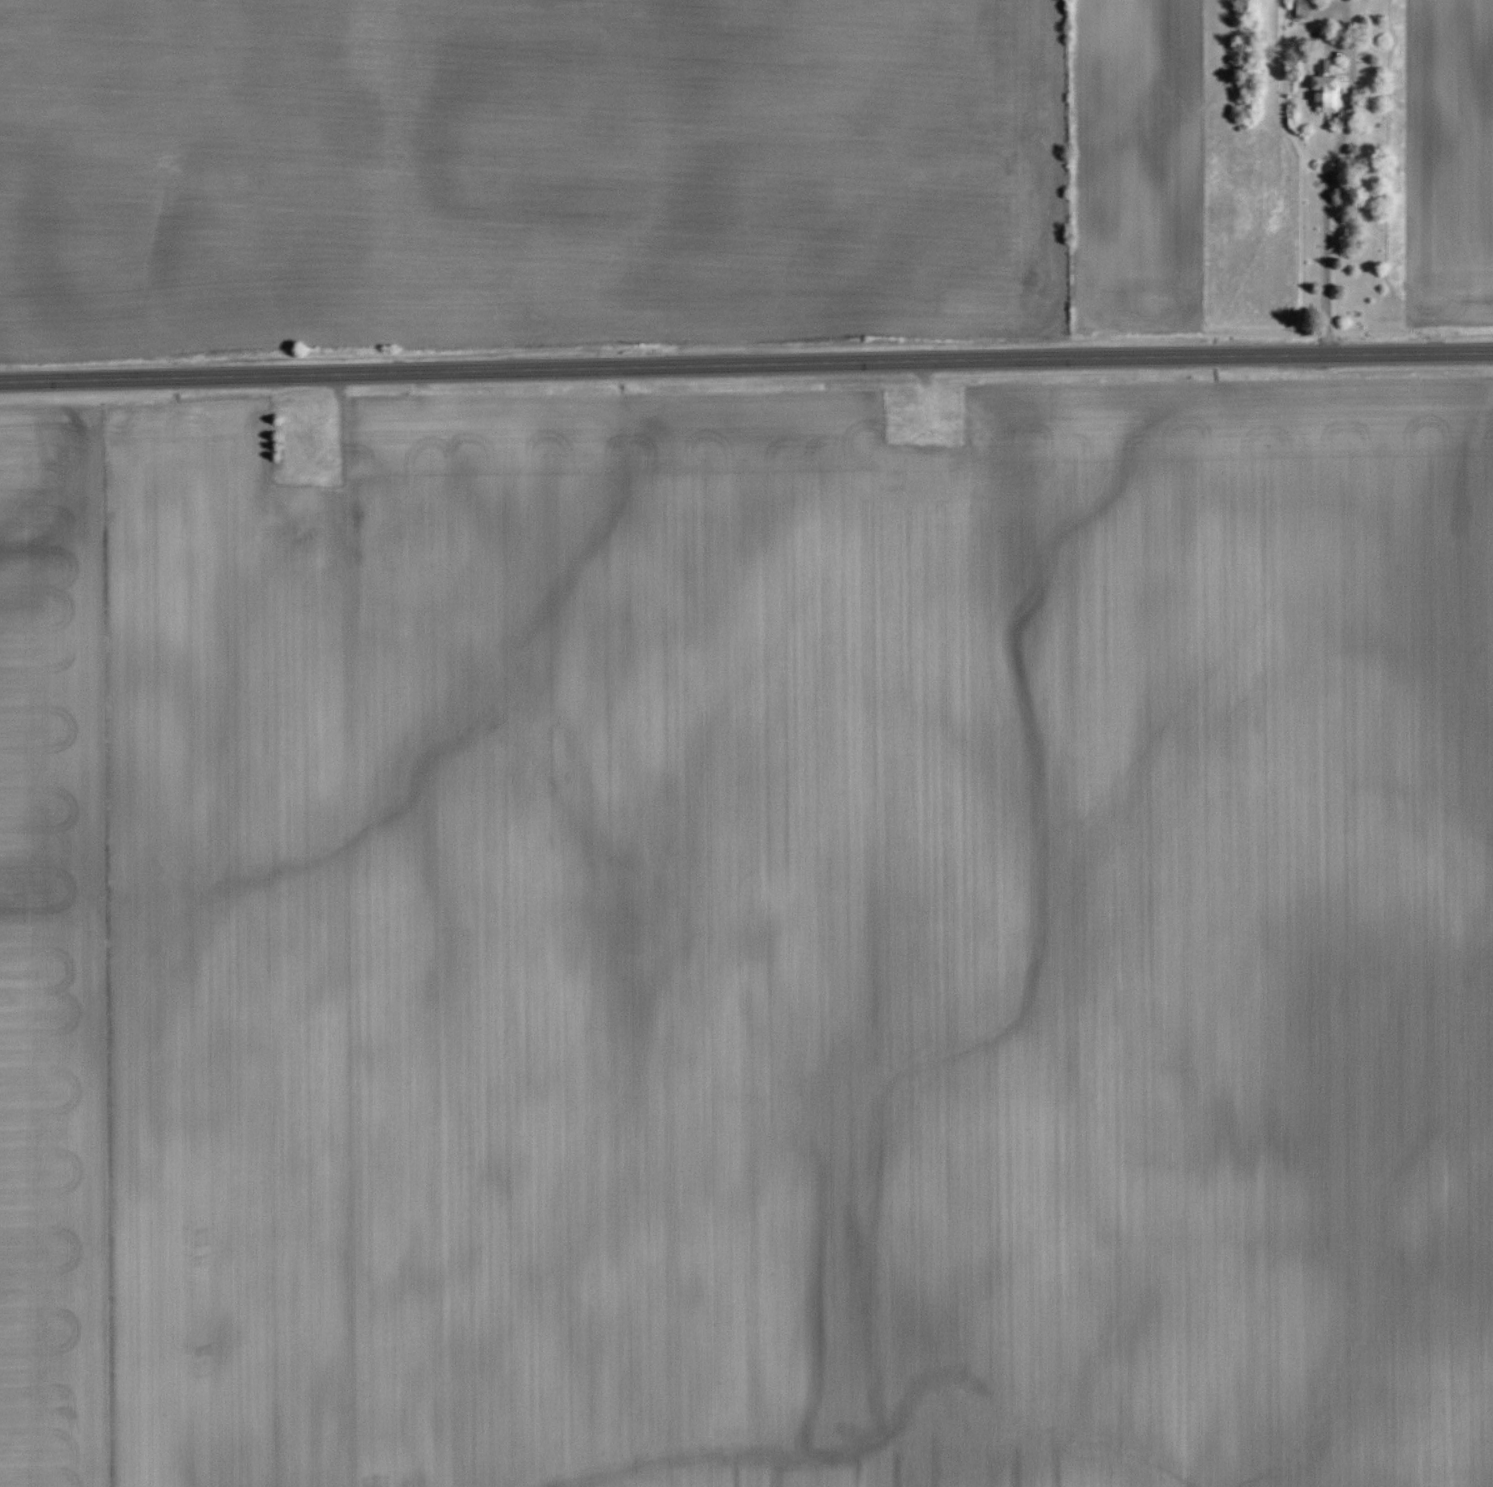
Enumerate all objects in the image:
building: (1302, 9)
road: (1322, 224)
road: (746, 366)

